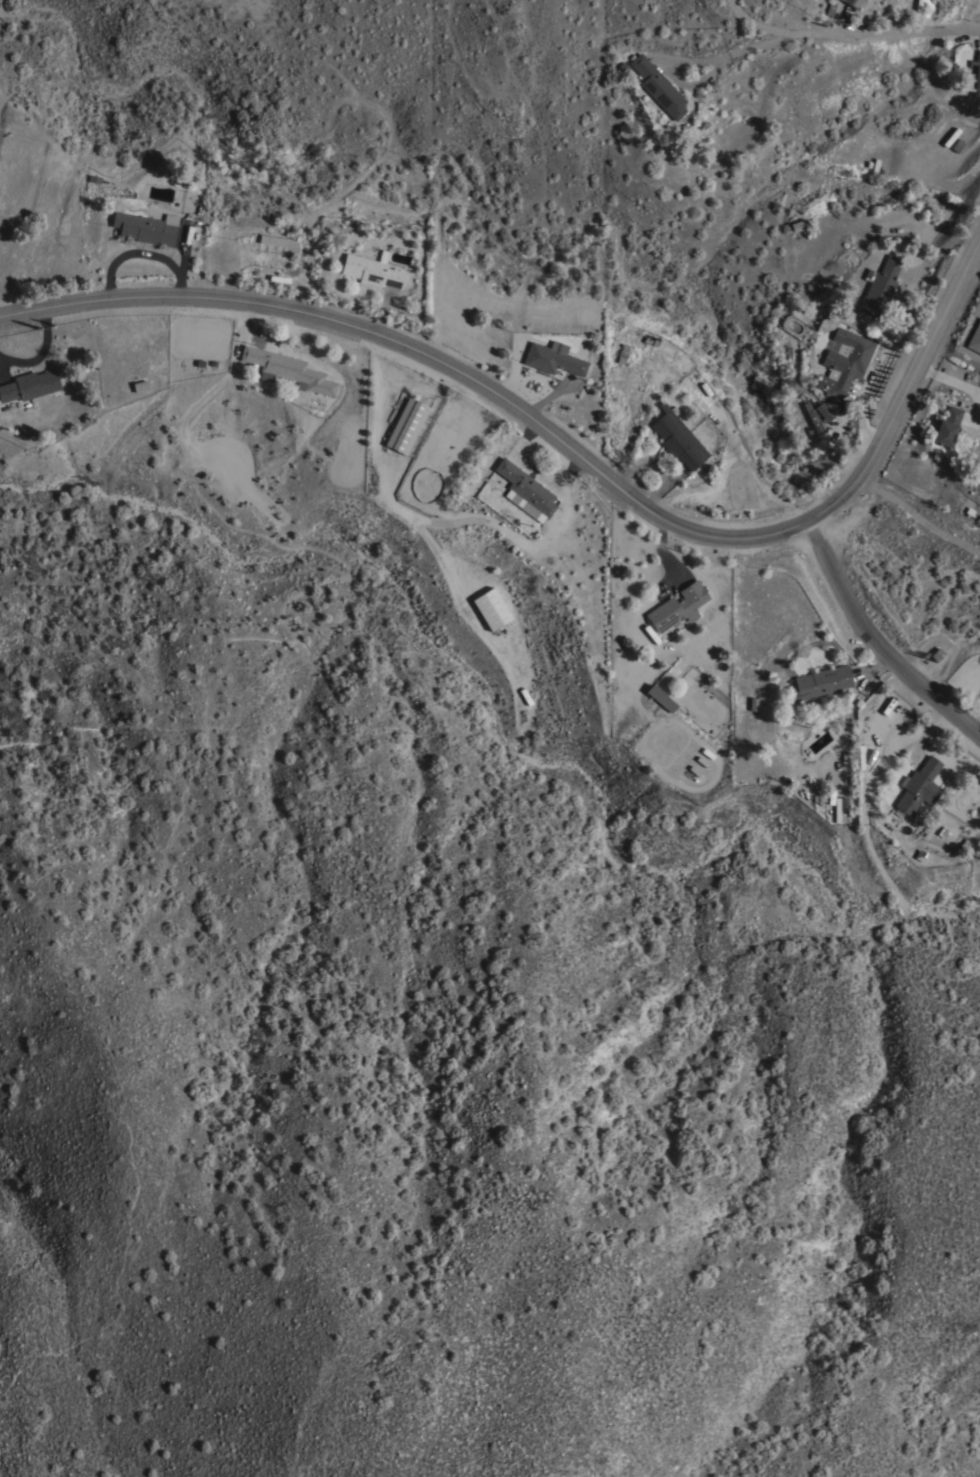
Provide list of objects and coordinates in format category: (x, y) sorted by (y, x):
building: (851, 2)
road: (847, 35)
building: (974, 70)
building: (657, 86)
building: (798, 224)
building: (147, 227)
building: (275, 240)
building: (371, 271)
building: (880, 285)
building: (979, 299)
building: (975, 338)
building: (622, 352)
road: (431, 355)
building: (552, 359)
building: (842, 362)
building: (287, 370)
building: (614, 380)
building: (29, 385)
building: (140, 385)
building: (785, 387)
road: (908, 388)
building: (823, 411)
building: (812, 416)
building: (406, 425)
building: (947, 426)
building: (678, 438)
building: (526, 487)
road: (919, 518)
building: (678, 606)
building: (491, 608)
road: (875, 643)
building: (820, 684)
building: (661, 698)
building: (918, 785)

